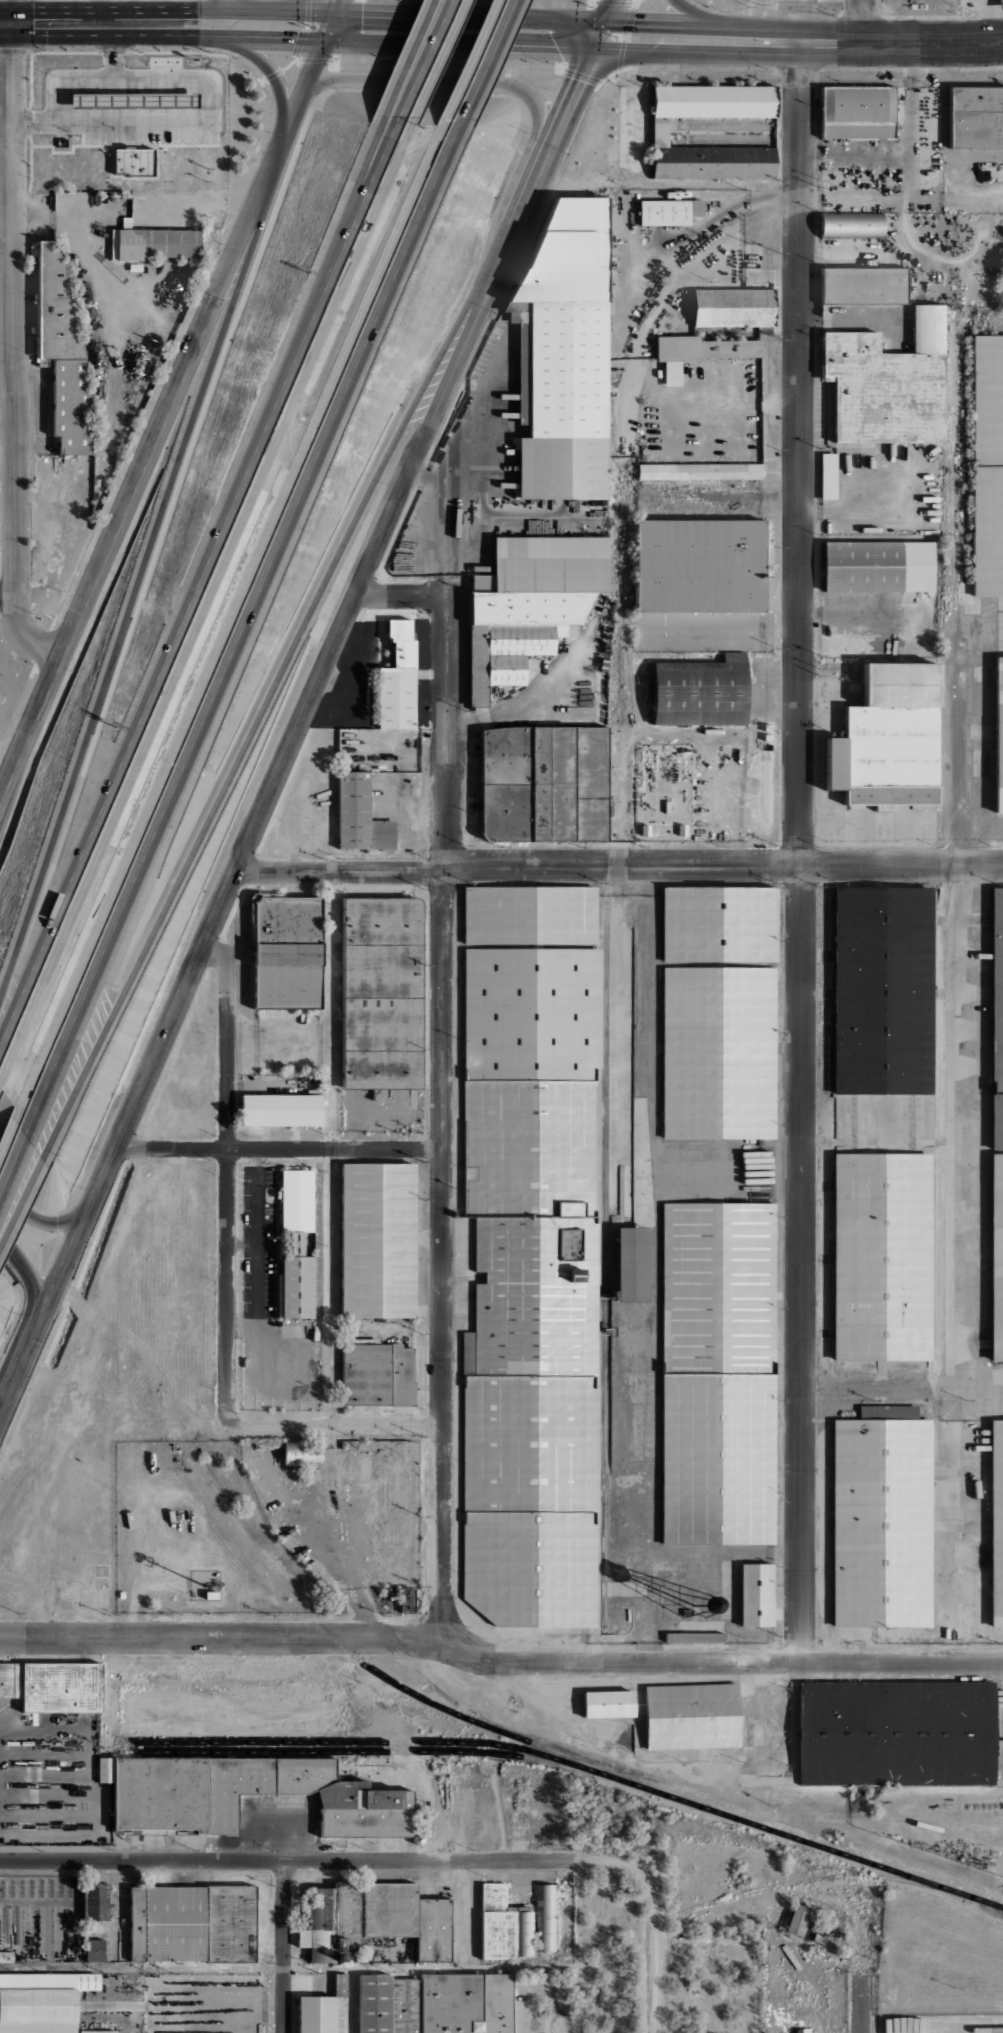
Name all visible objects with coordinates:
building: (827, 1)
building: (1000, 4)
road: (263, 10)
road: (10, 11)
road: (99, 11)
road: (224, 11)
road: (700, 19)
road: (860, 21)
road: (116, 22)
road: (5, 23)
traffic signals: (10, 23)
traffic signals: (332, 26)
road: (413, 29)
traffic signals: (605, 36)
road: (803, 42)
road: (628, 59)
road: (404, 61)
road: (479, 63)
road: (429, 64)
road: (311, 76)
road: (274, 78)
road: (461, 81)
road: (220, 114)
building: (857, 114)
road: (562, 116)
building: (976, 120)
building: (660, 131)
building: (92, 133)
building: (670, 211)
building: (851, 225)
building: (153, 242)
building: (864, 285)
road: (317, 297)
building: (732, 307)
road: (850, 322)
road: (10, 351)
building: (697, 351)
building: (63, 352)
building: (567, 354)
building: (525, 364)
building: (888, 382)
road: (169, 405)
railway: (625, 441)
building: (987, 465)
building: (700, 470)
building: (828, 475)
building: (700, 565)
building: (878, 565)
road: (143, 575)
road: (8, 594)
road: (202, 594)
road: (401, 595)
building: (529, 603)
road: (242, 633)
building: (397, 676)
parking lot: (11, 682)
building: (700, 691)
road: (268, 694)
road: (29, 725)
building: (999, 734)
building: (889, 740)
road: (273, 781)
building: (541, 784)
building: (360, 814)
building: (645, 829)
building: (681, 829)
road: (798, 852)
road: (618, 864)
building: (719, 923)
building: (286, 951)
building: (883, 990)
building: (382, 992)
building: (997, 1017)
building: (718, 1052)
building: (281, 1109)
road: (441, 1120)
road: (278, 1147)
road: (10, 1158)
road: (226, 1179)
road: (19, 1200)
road: (37, 1220)
building: (378, 1240)
building: (297, 1243)
building: (531, 1253)
building: (882, 1257)
building: (997, 1257)
building: (633, 1264)
road: (29, 1276)
road: (18, 1368)
building: (718, 1373)
building: (378, 1374)
road: (337, 1426)
building: (303, 1452)
building: (882, 1518)
building: (997, 1523)
building: (757, 1595)
building: (407, 1600)
water tower: (694, 1606)
building: (694, 1637)
road: (499, 1661)
building: (53, 1686)
building: (608, 1703)
building: (230, 1711)
building: (692, 1716)
building: (897, 1732)
railway: (516, 1738)
railway: (507, 1756)
railway: (566, 1764)
building: (246, 1794)
railway: (846, 1853)
road: (322, 1859)
railway: (822, 1878)
building: (96, 1900)
railway: (988, 1903)
building: (375, 1919)
building: (796, 1920)
building: (516, 1922)
building: (193, 1923)
building: (818, 1935)
road: (283, 1946)
building: (95, 1950)
road: (654, 1950)
building: (6, 1956)
building: (42, 2001)
building: (436, 2003)
road: (861, 2008)
building: (321, 2009)
building: (98, 2031)

